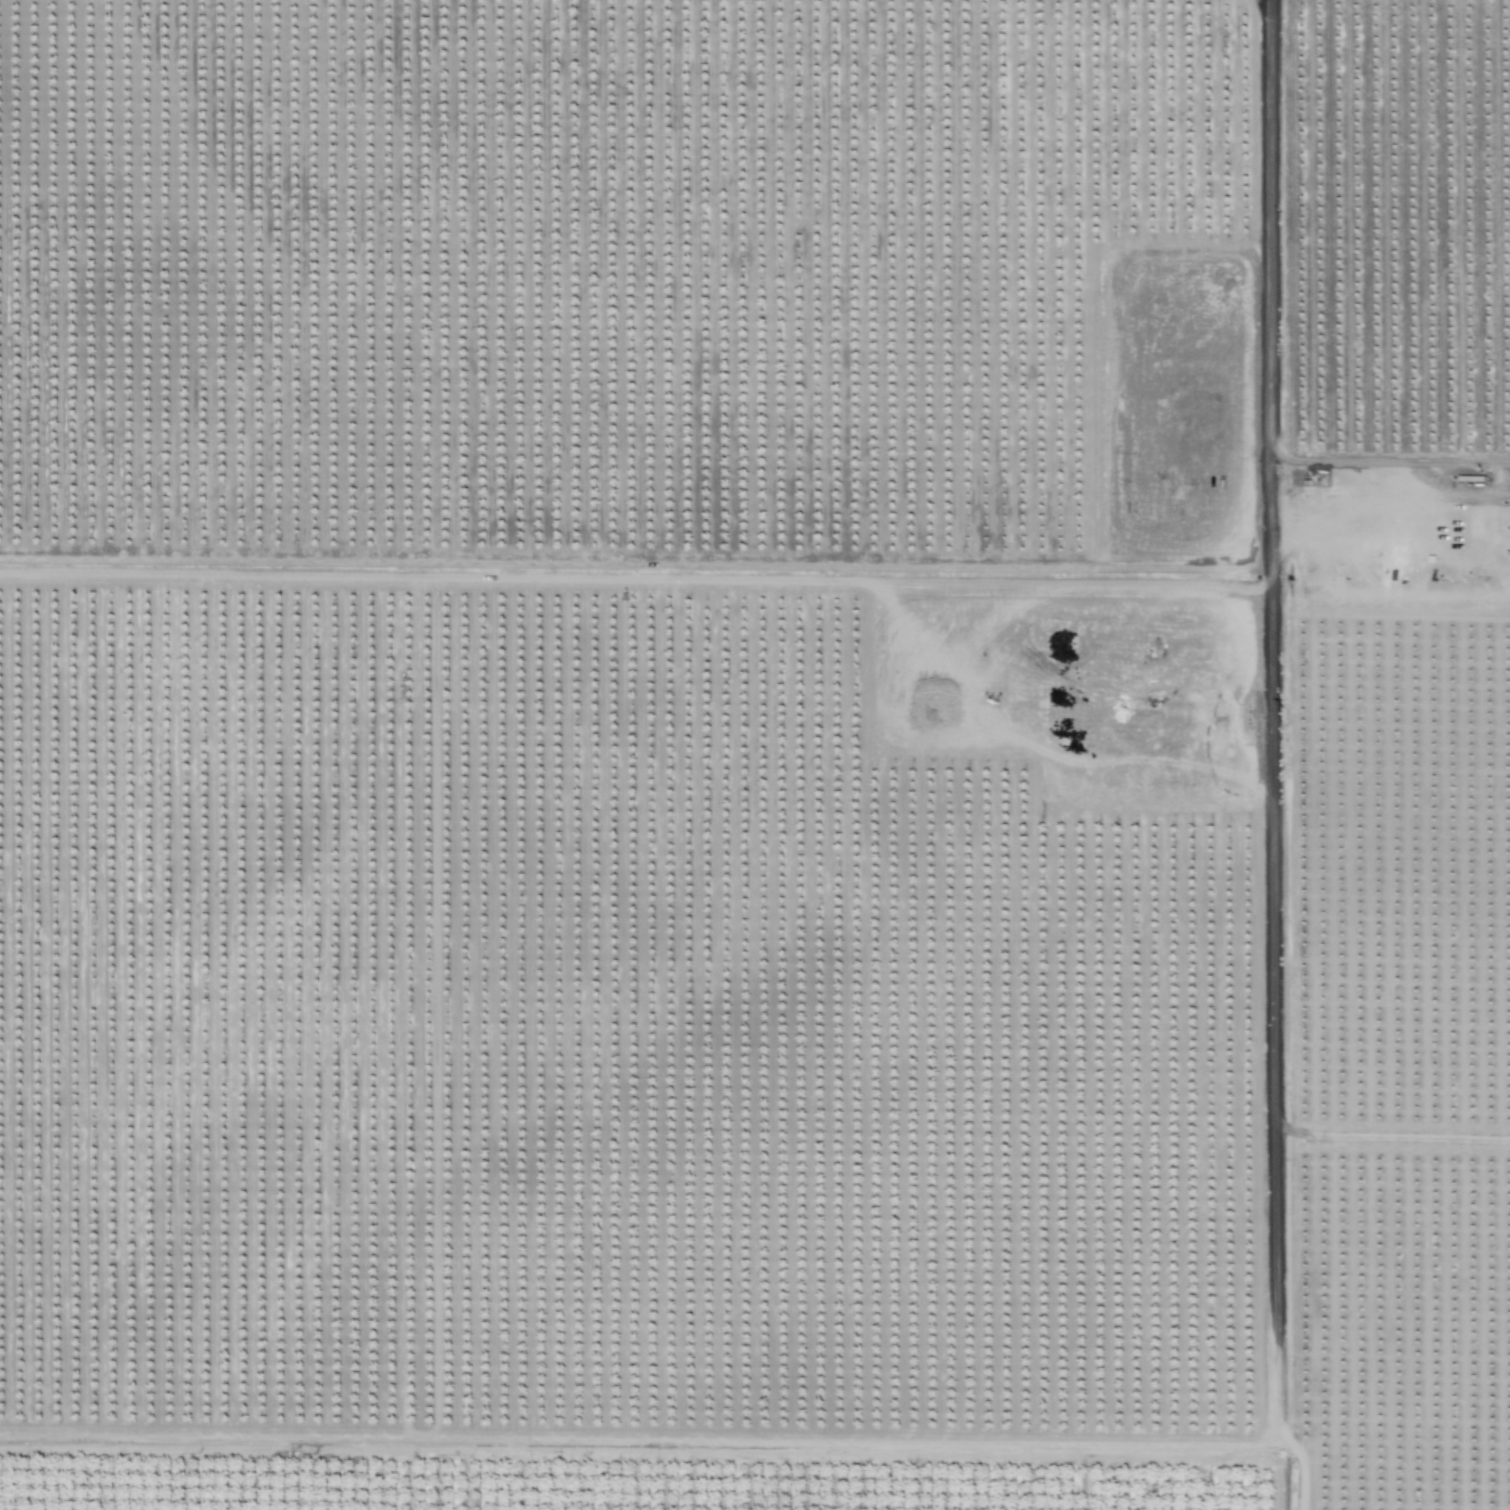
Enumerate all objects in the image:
wastewater plant: (1488, 584)

